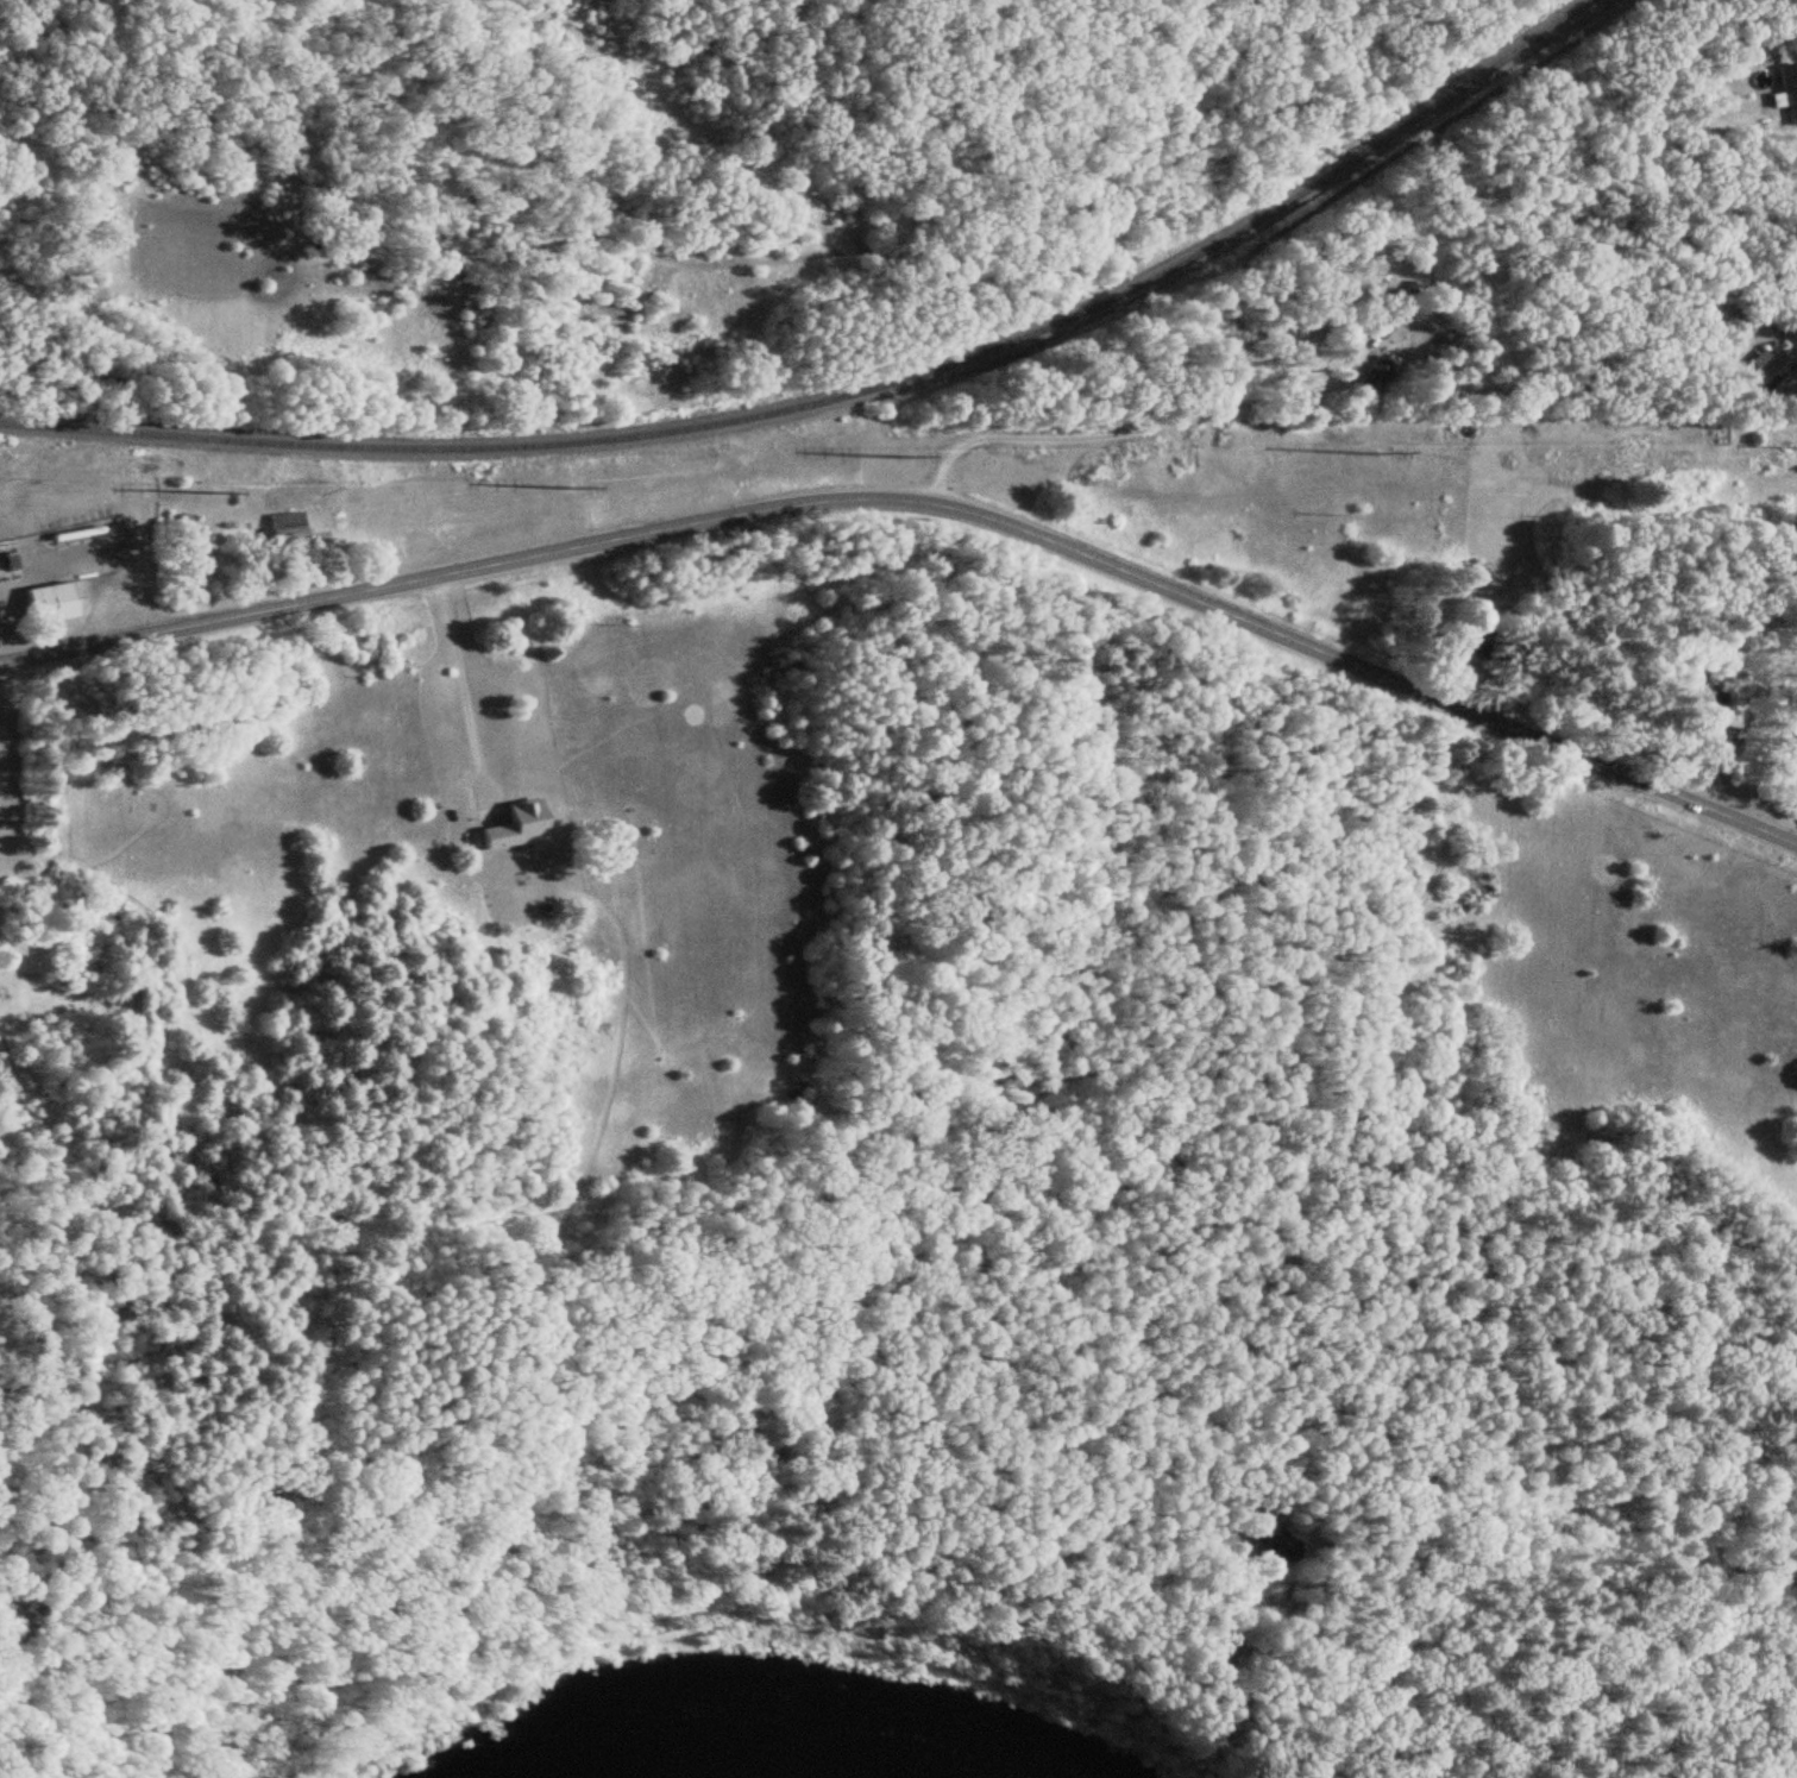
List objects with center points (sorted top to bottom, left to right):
building: (1783, 93)
road: (1795, 345)
building: (1759, 370)
railway: (842, 395)
road: (1186, 411)
power tower: (894, 457)
power tower: (1371, 457)
building: (287, 488)
power tower: (563, 489)
power tower: (208, 491)
road: (922, 501)
building: (279, 529)
building: (42, 604)
road: (461, 686)
building: (1697, 729)
building: (1784, 748)
road: (490, 1540)
river: (775, 1735)

